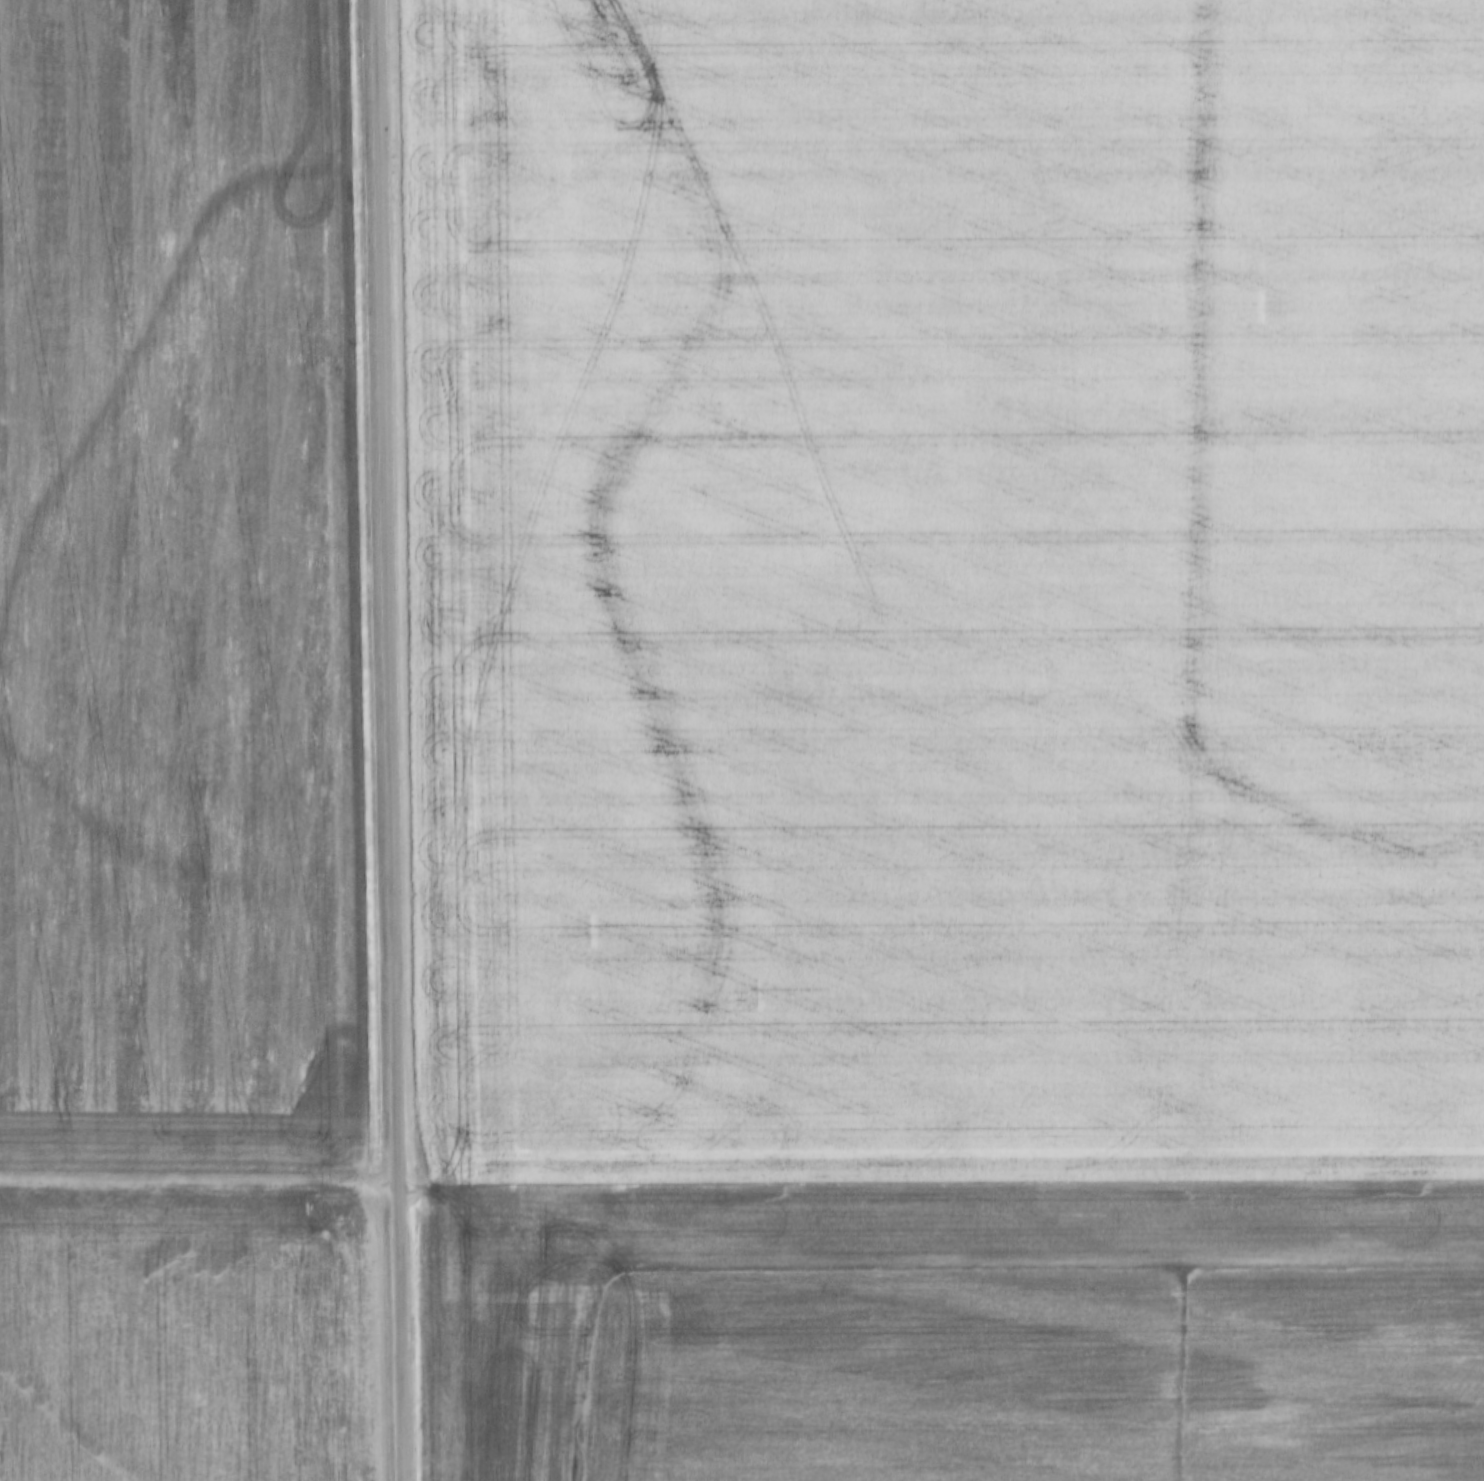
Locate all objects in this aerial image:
road: (388, 740)
road: (940, 1186)

